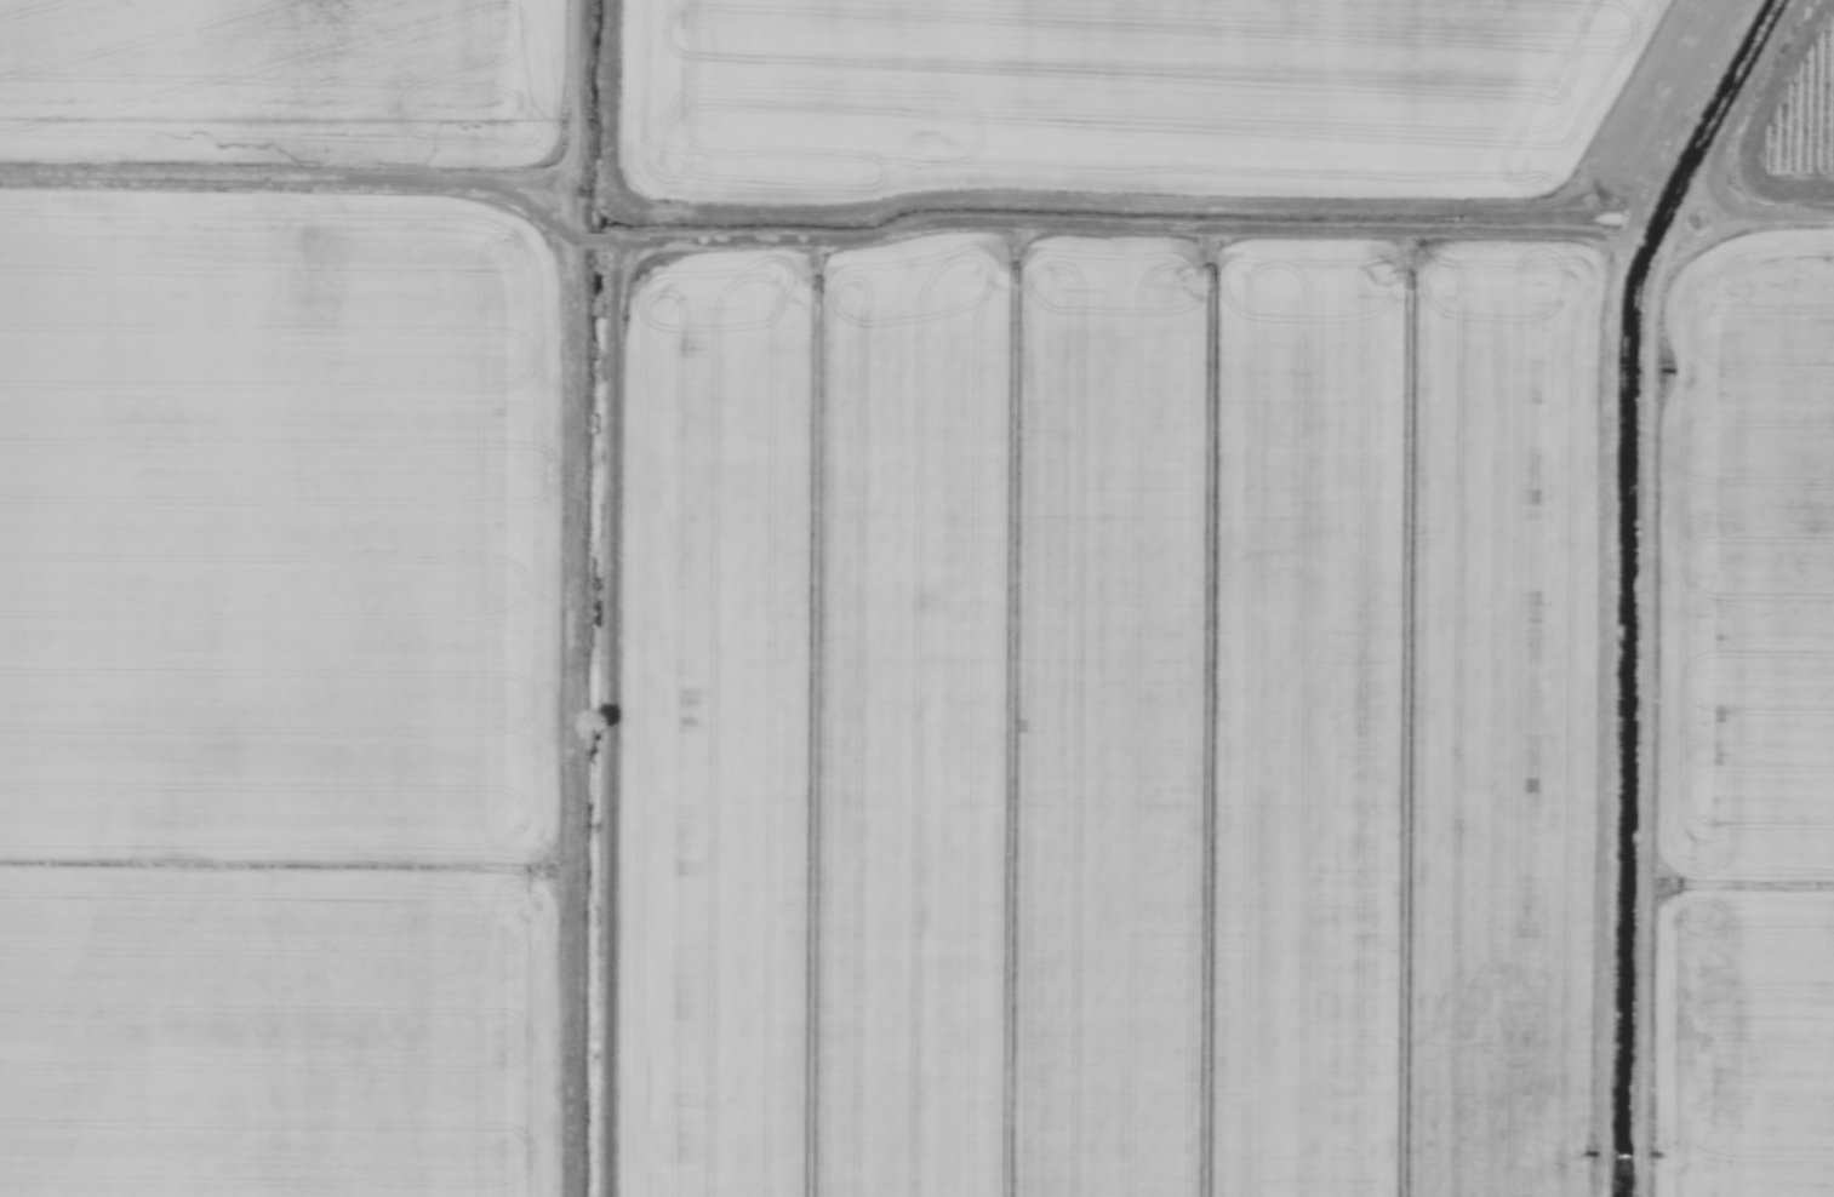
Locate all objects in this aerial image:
road: (573, 130)
road: (321, 177)

